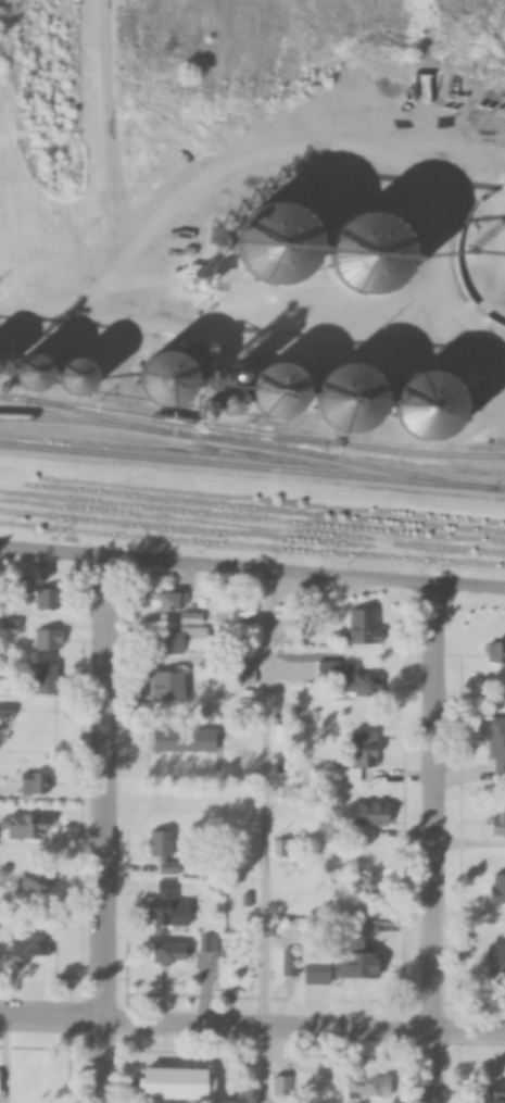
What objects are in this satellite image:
road: (123, 162)
road: (252, 334)
railway: (102, 416)
railway: (252, 430)
railway: (260, 438)
railway: (237, 441)
railway: (252, 467)
road: (252, 573)
building: (48, 599)
building: (181, 606)
building: (366, 627)
building: (48, 639)
building: (185, 641)
building: (497, 654)
building: (344, 676)
building: (47, 678)
building: (171, 686)
building: (37, 731)
building: (497, 747)
building: (362, 748)
building: (181, 751)
building: (31, 784)
building: (370, 814)
building: (235, 815)
building: (31, 826)
building: (498, 826)
road: (101, 829)
road: (264, 839)
road: (433, 847)
building: (280, 849)
building: (163, 852)
building: (31, 882)
building: (365, 883)
building: (0, 885)
building: (498, 889)
building: (169, 907)
building: (29, 947)
building: (171, 952)
building: (209, 953)
building: (497, 963)
building: (370, 965)
road: (252, 1026)
building: (4, 1082)
building: (184, 1085)
building: (281, 1086)
building: (371, 1087)
building: (498, 1092)

